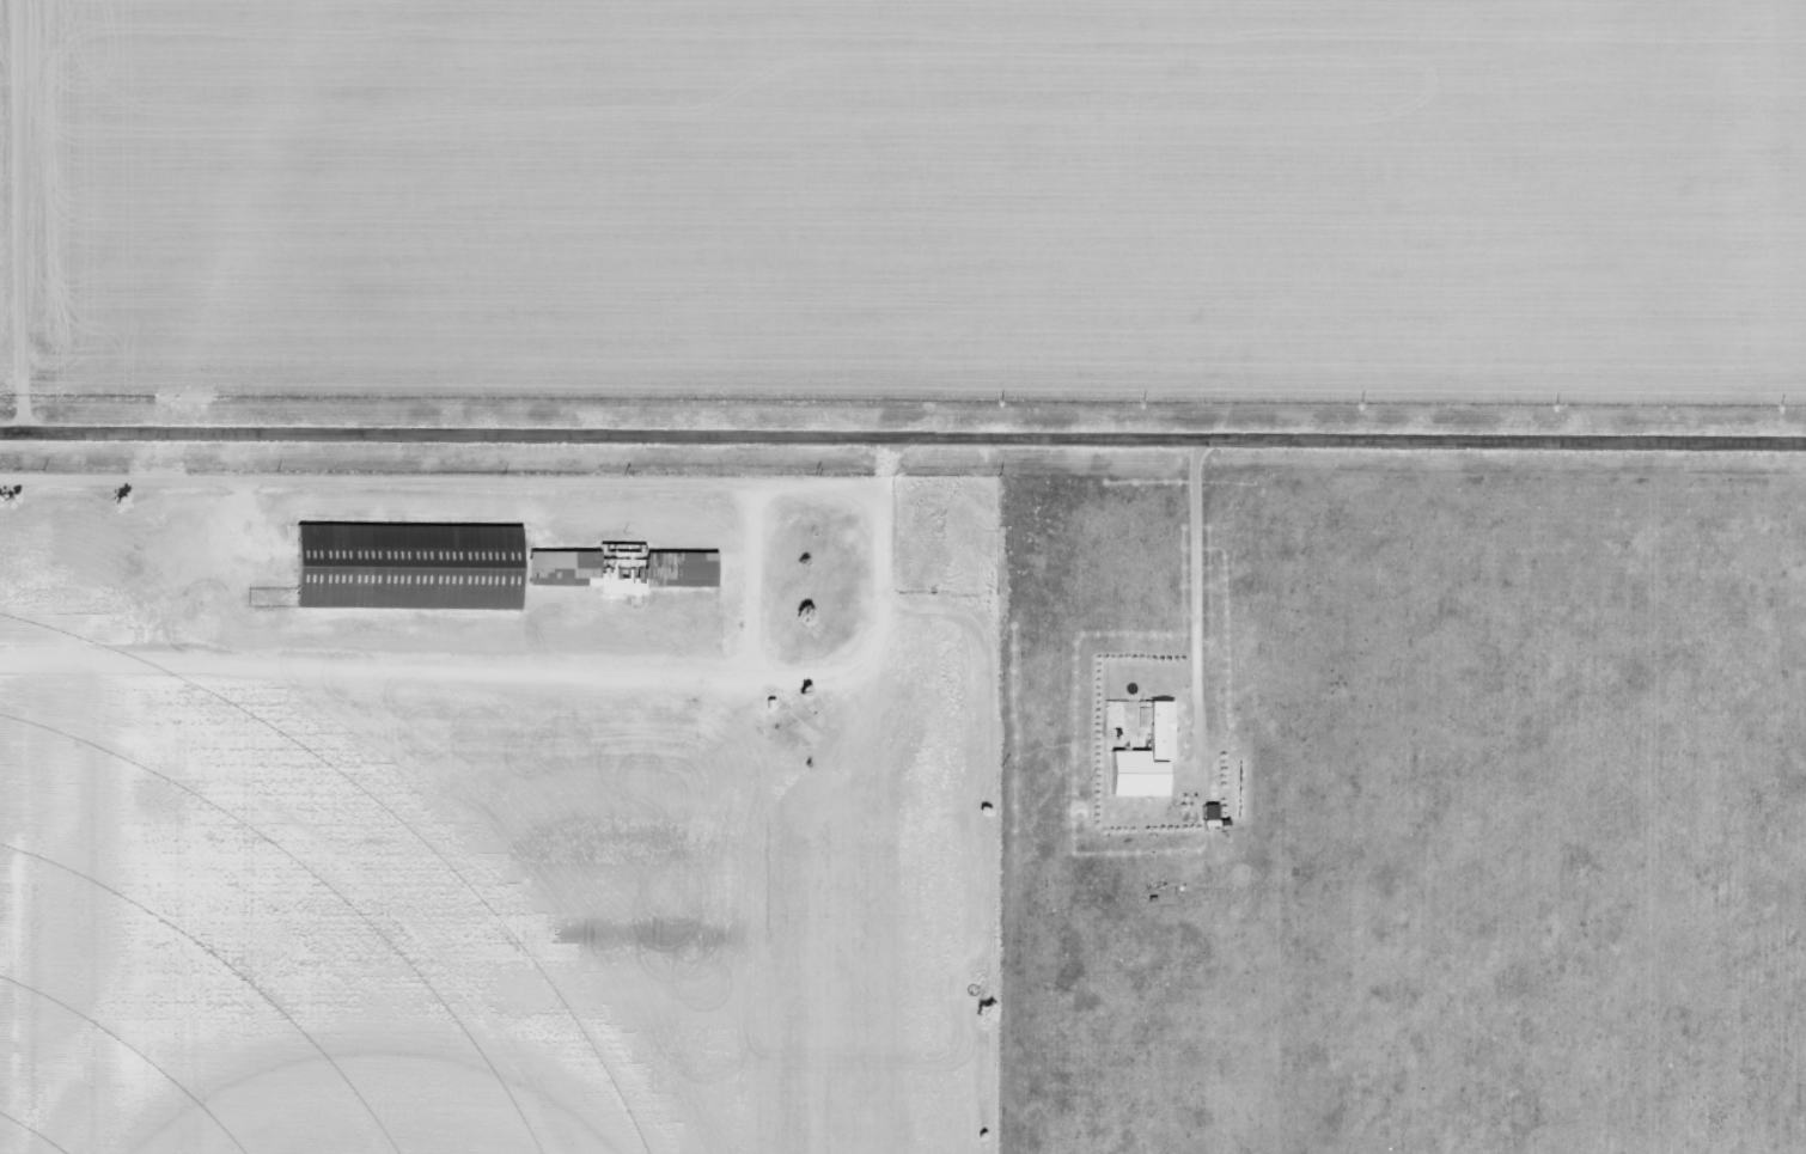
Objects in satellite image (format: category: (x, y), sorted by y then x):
road: (32, 214)
road: (902, 441)
building: (413, 566)
building: (627, 570)
road: (544, 678)
building: (1151, 759)
building: (1215, 816)

